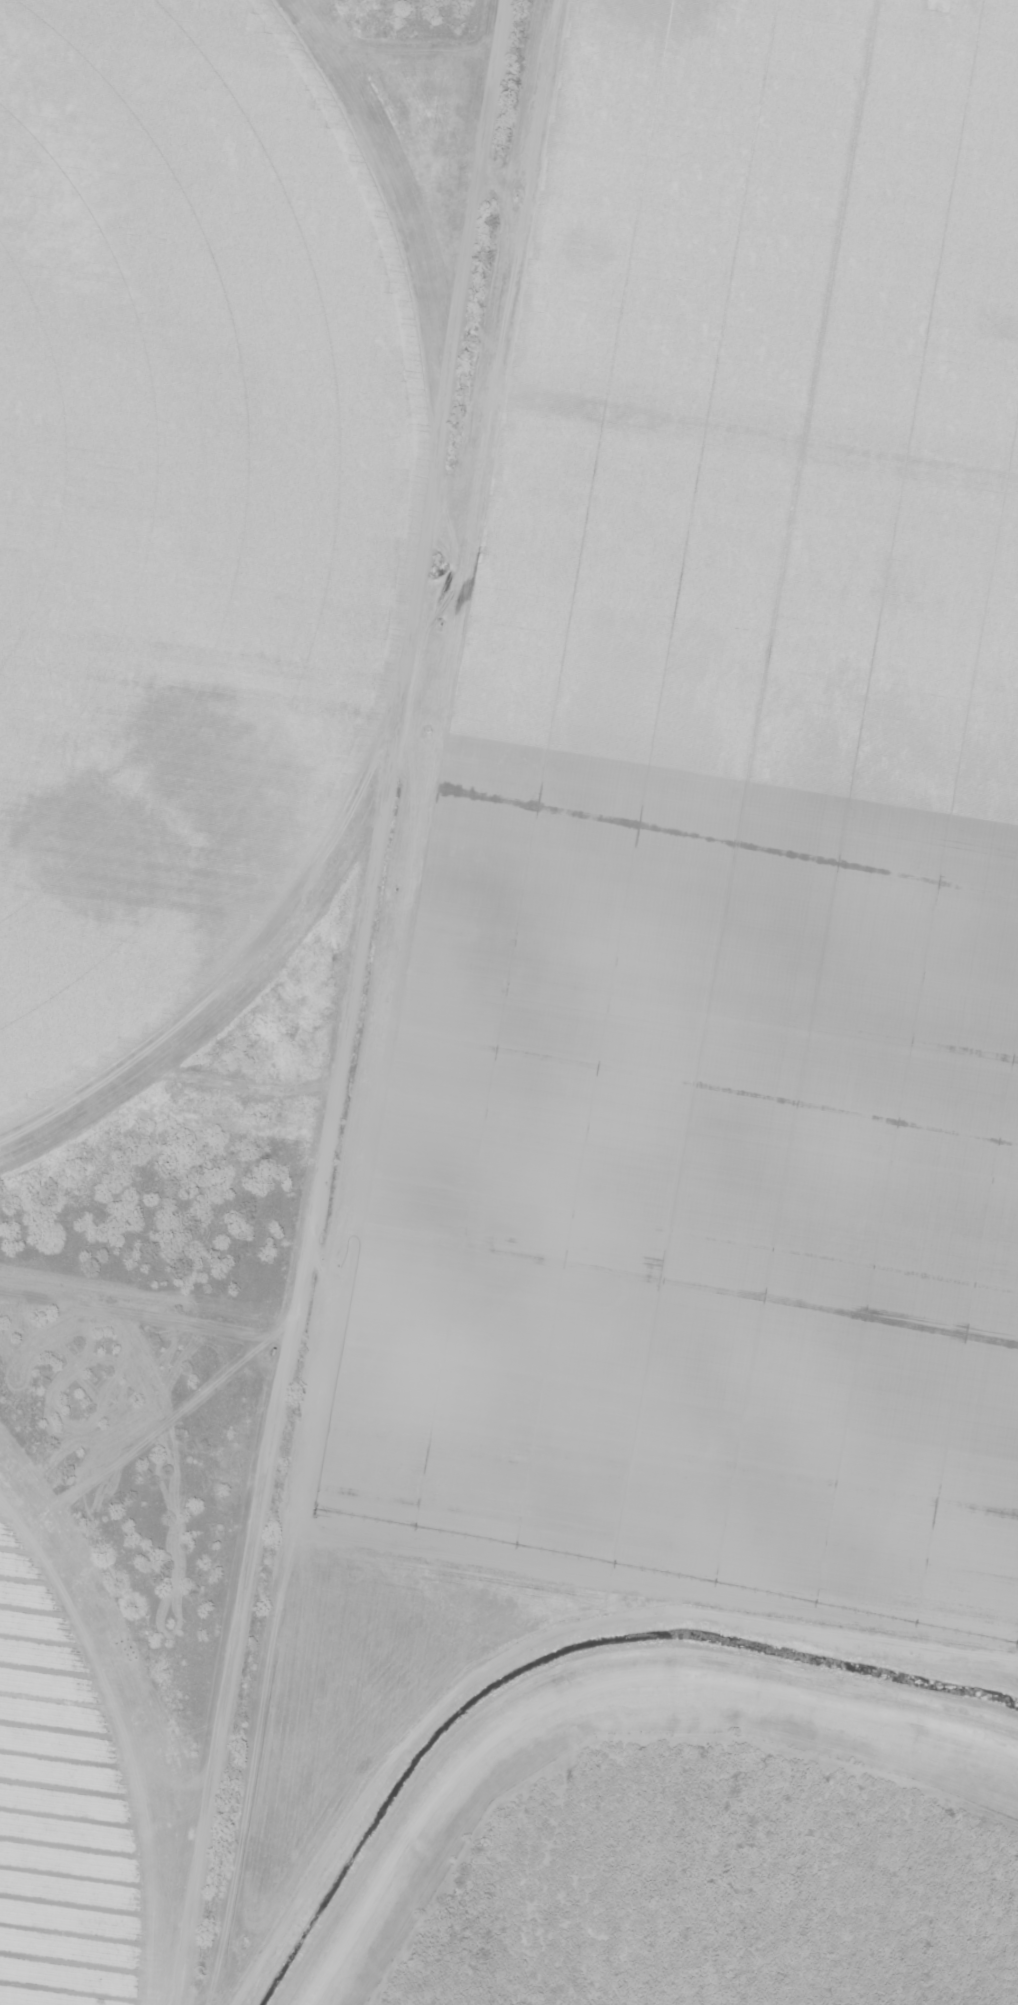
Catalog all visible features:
road: (342, 1000)

